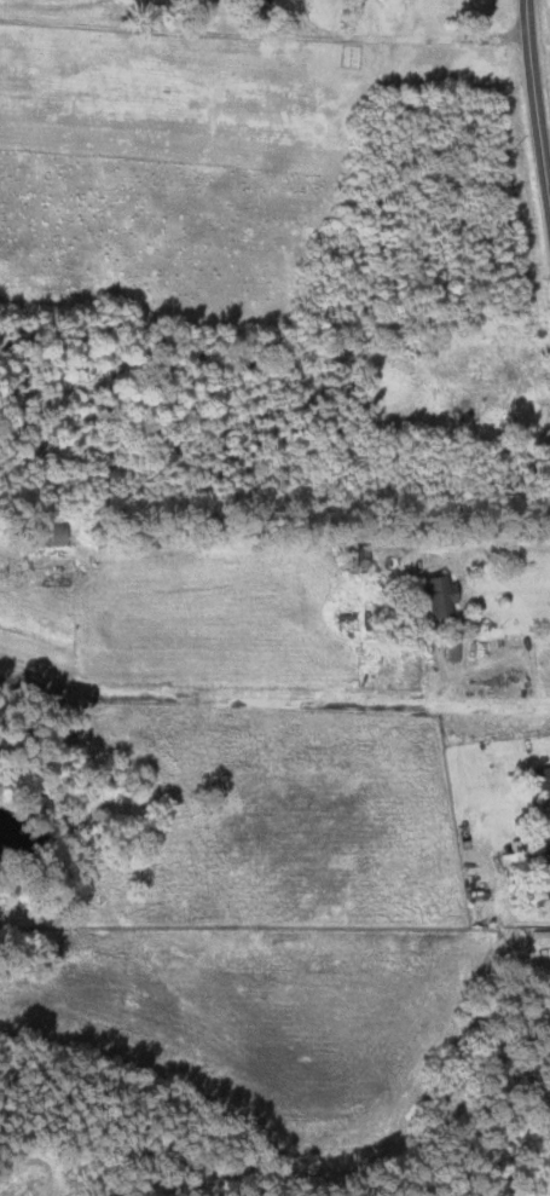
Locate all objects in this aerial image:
road: (309, 22)
road: (261, 39)
park: (347, 56)
road: (534, 111)
road: (484, 544)
building: (432, 595)
road: (273, 700)
building: (540, 782)
road: (549, 850)
building: (549, 886)

